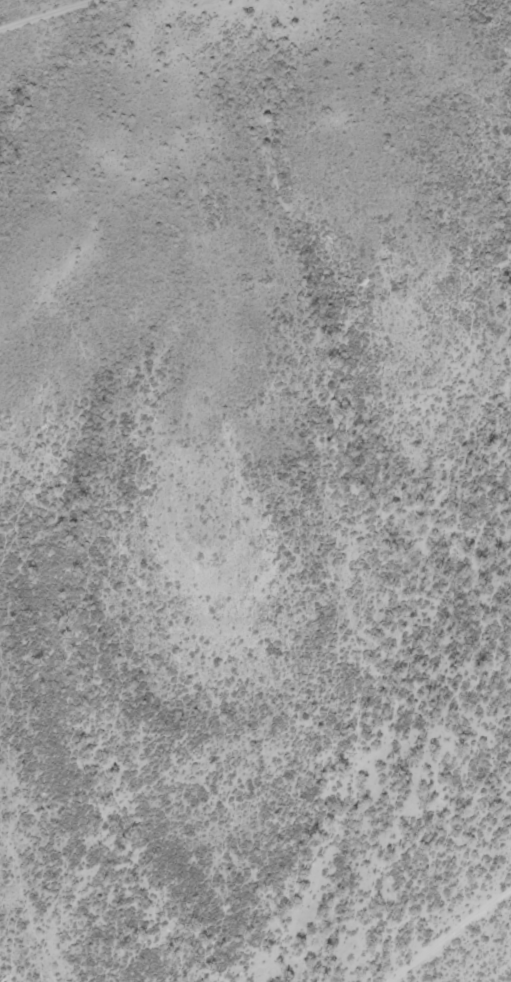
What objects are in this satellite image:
road: (59, 12)

